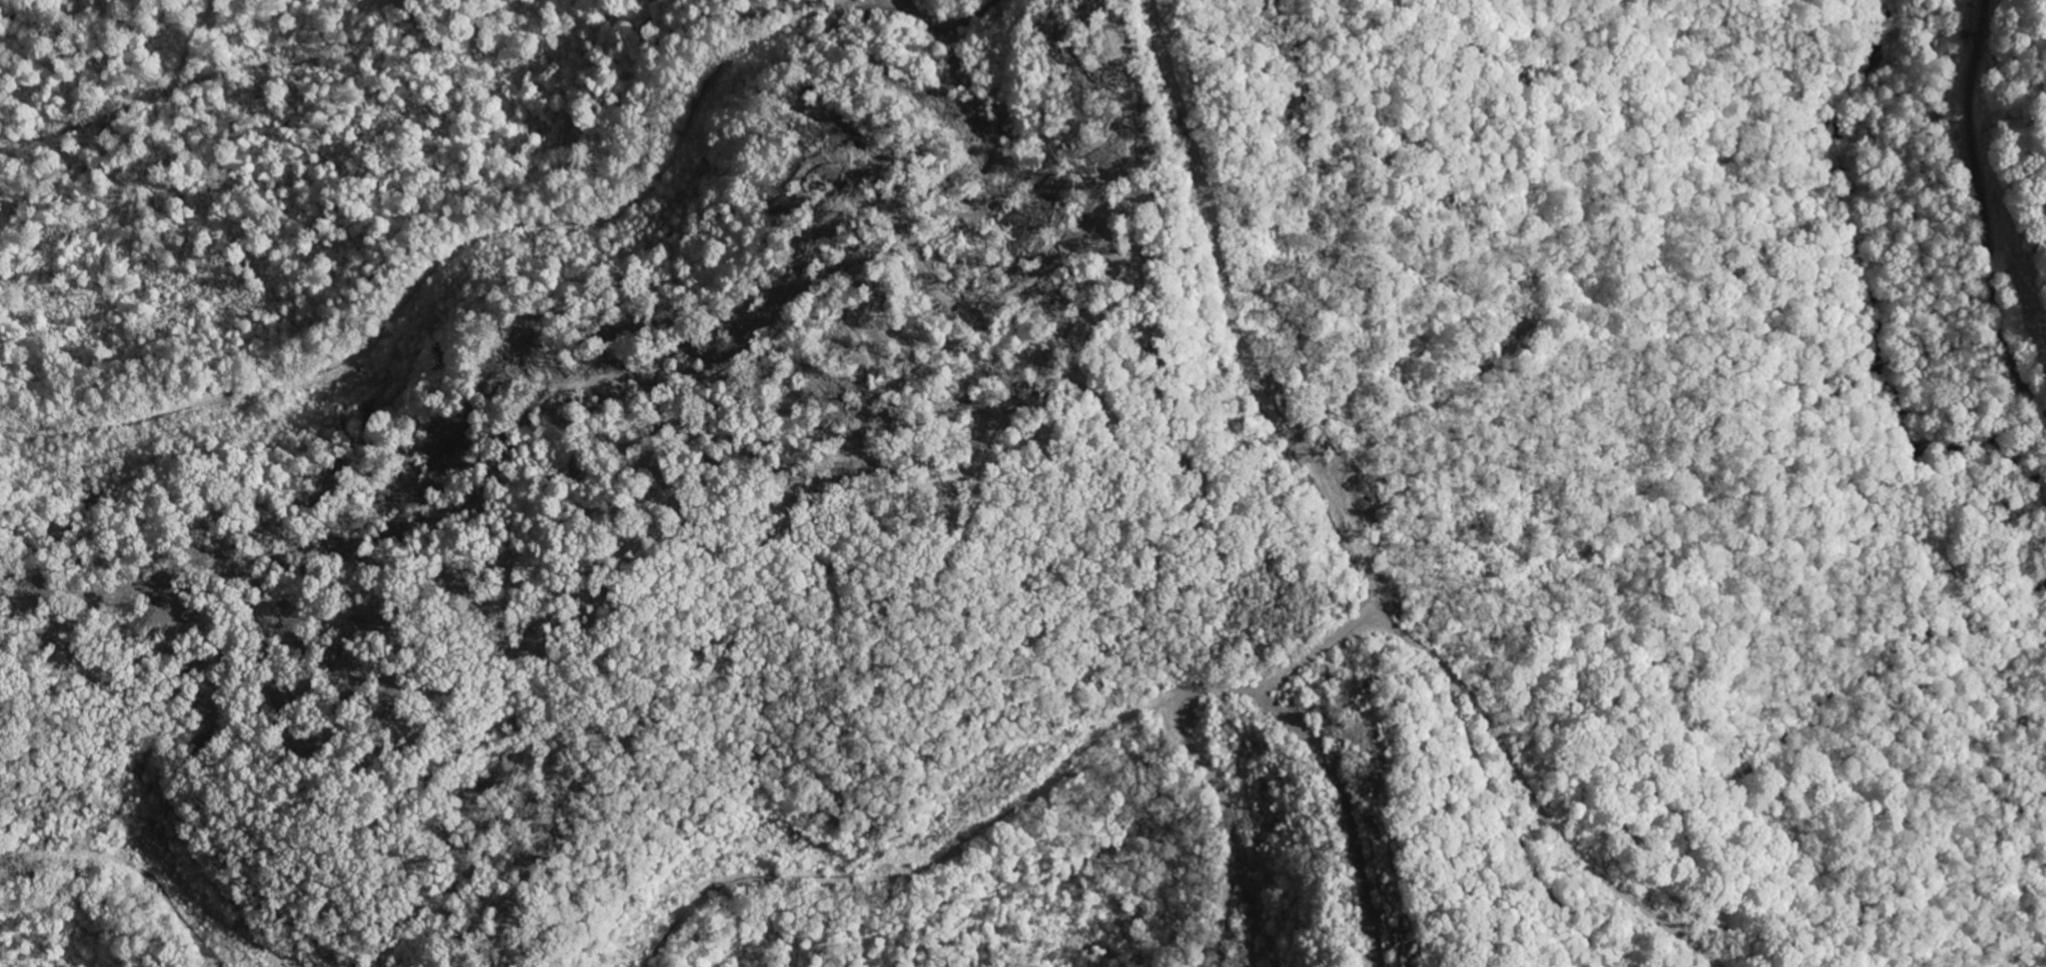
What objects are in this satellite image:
road: (1984, 209)
road: (1374, 622)

